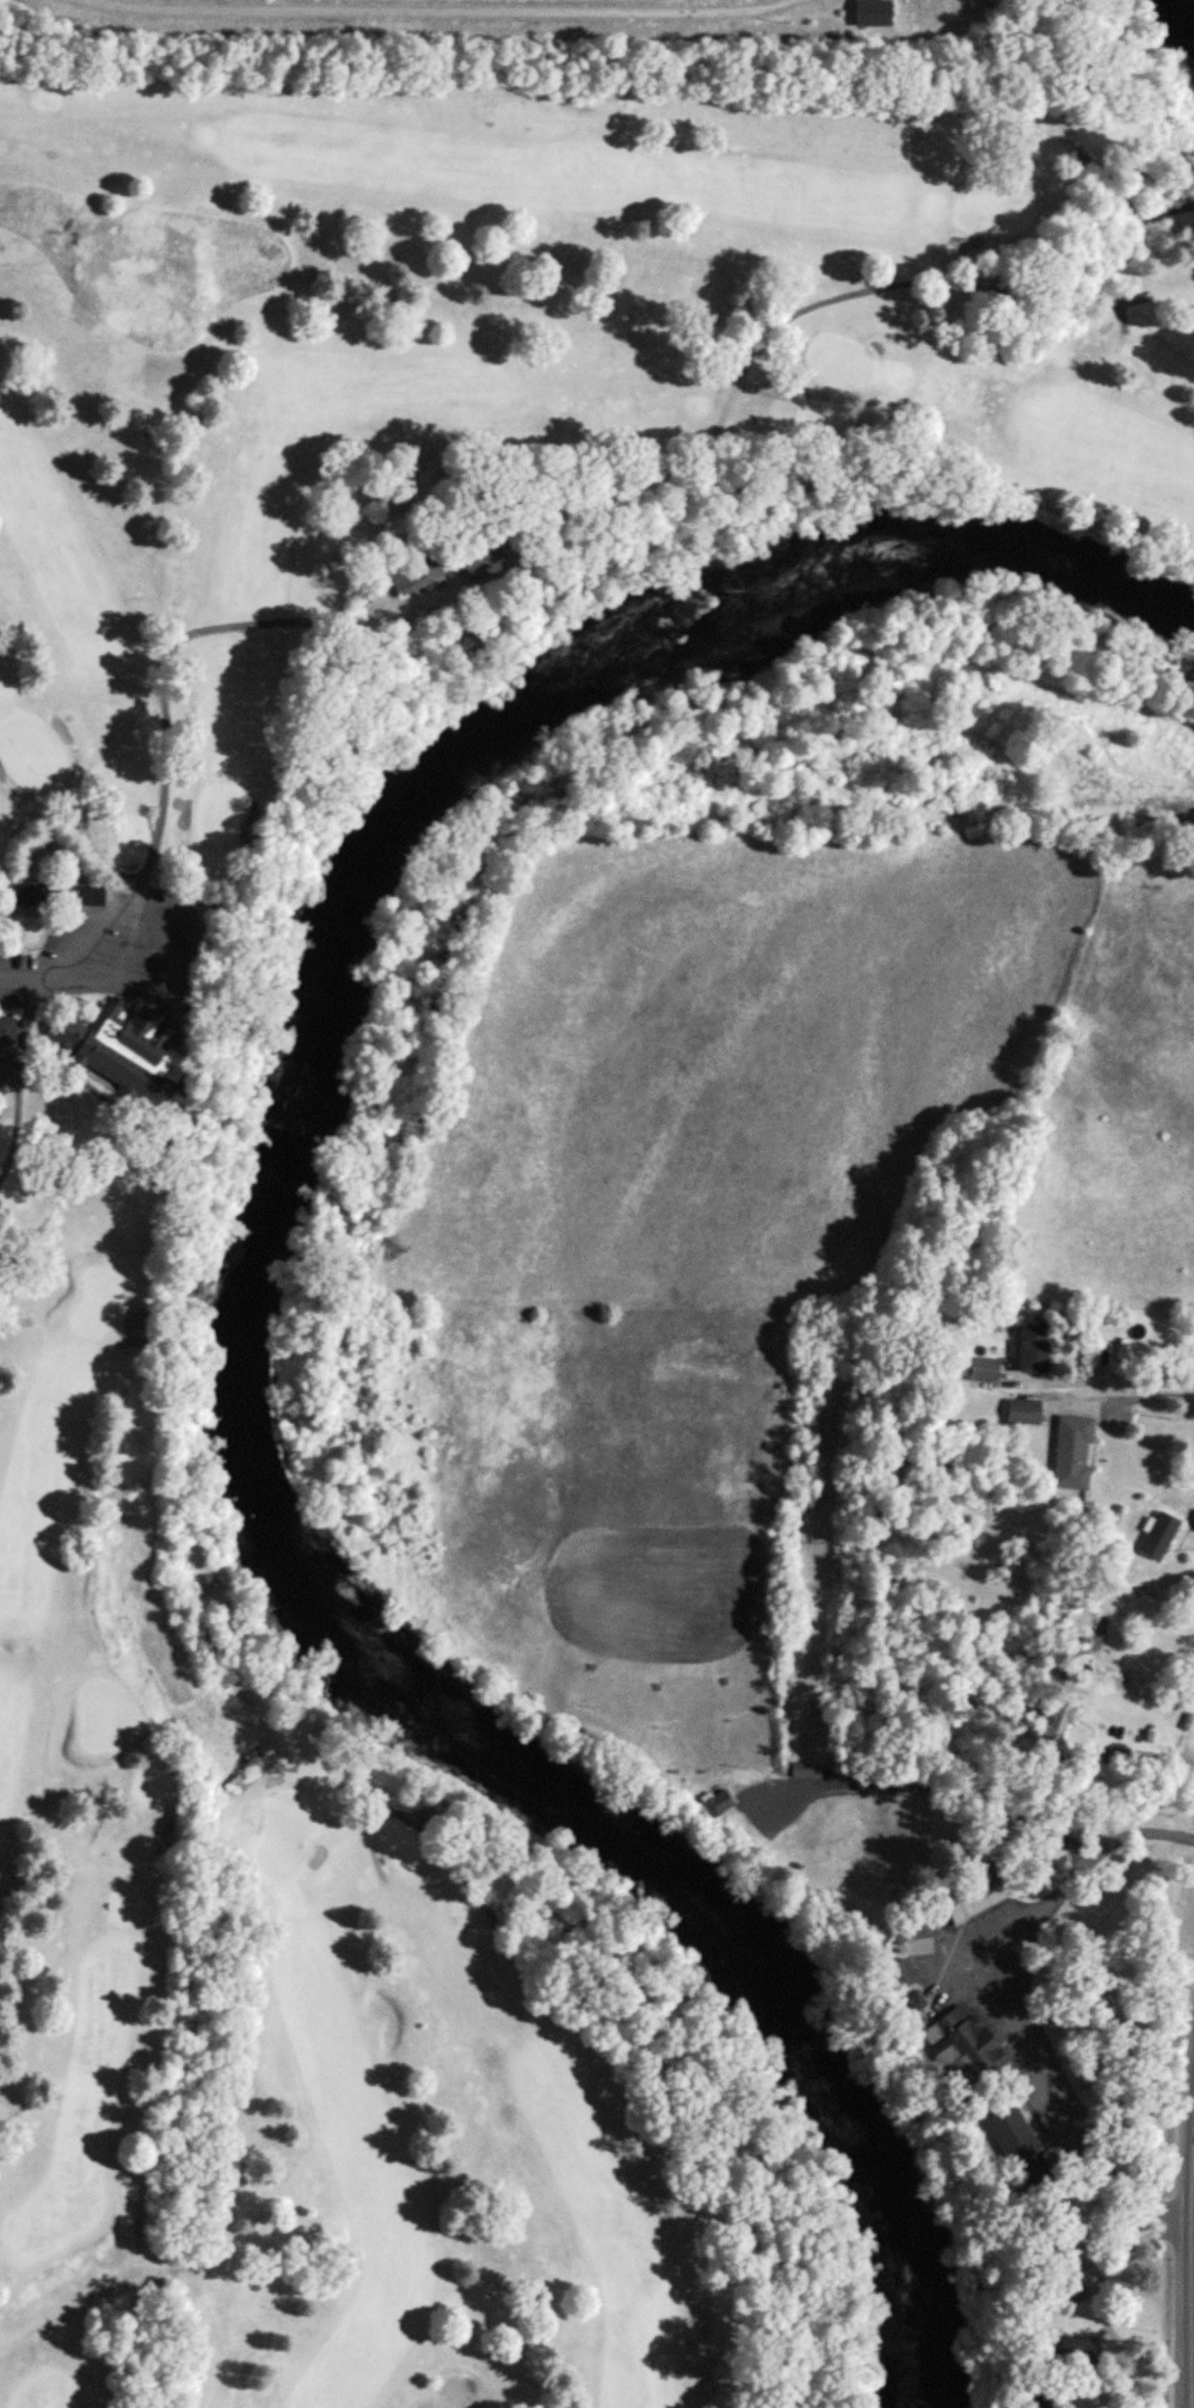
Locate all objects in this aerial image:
building: (474, 554)
building: (412, 571)
building: (79, 897)
building: (17, 901)
road: (179, 930)
parking lot: (119, 940)
road: (31, 979)
building: (6, 1034)
building: (118, 1051)
park: (122, 1110)
river: (244, 1284)
building: (1030, 1346)
building: (979, 1370)
road: (1137, 1382)
road: (1146, 1396)
building: (1021, 1413)
building: (1070, 1454)
building: (1157, 1536)
building: (1053, 1726)
road: (1147, 1753)
building: (807, 1770)
building: (972, 1896)
road: (1015, 1931)
building: (894, 1977)
building: (911, 2002)
building: (959, 2048)
building: (1011, 2144)
road: (1103, 2297)
building: (1072, 2354)
road: (1190, 2373)
building: (1038, 2403)

